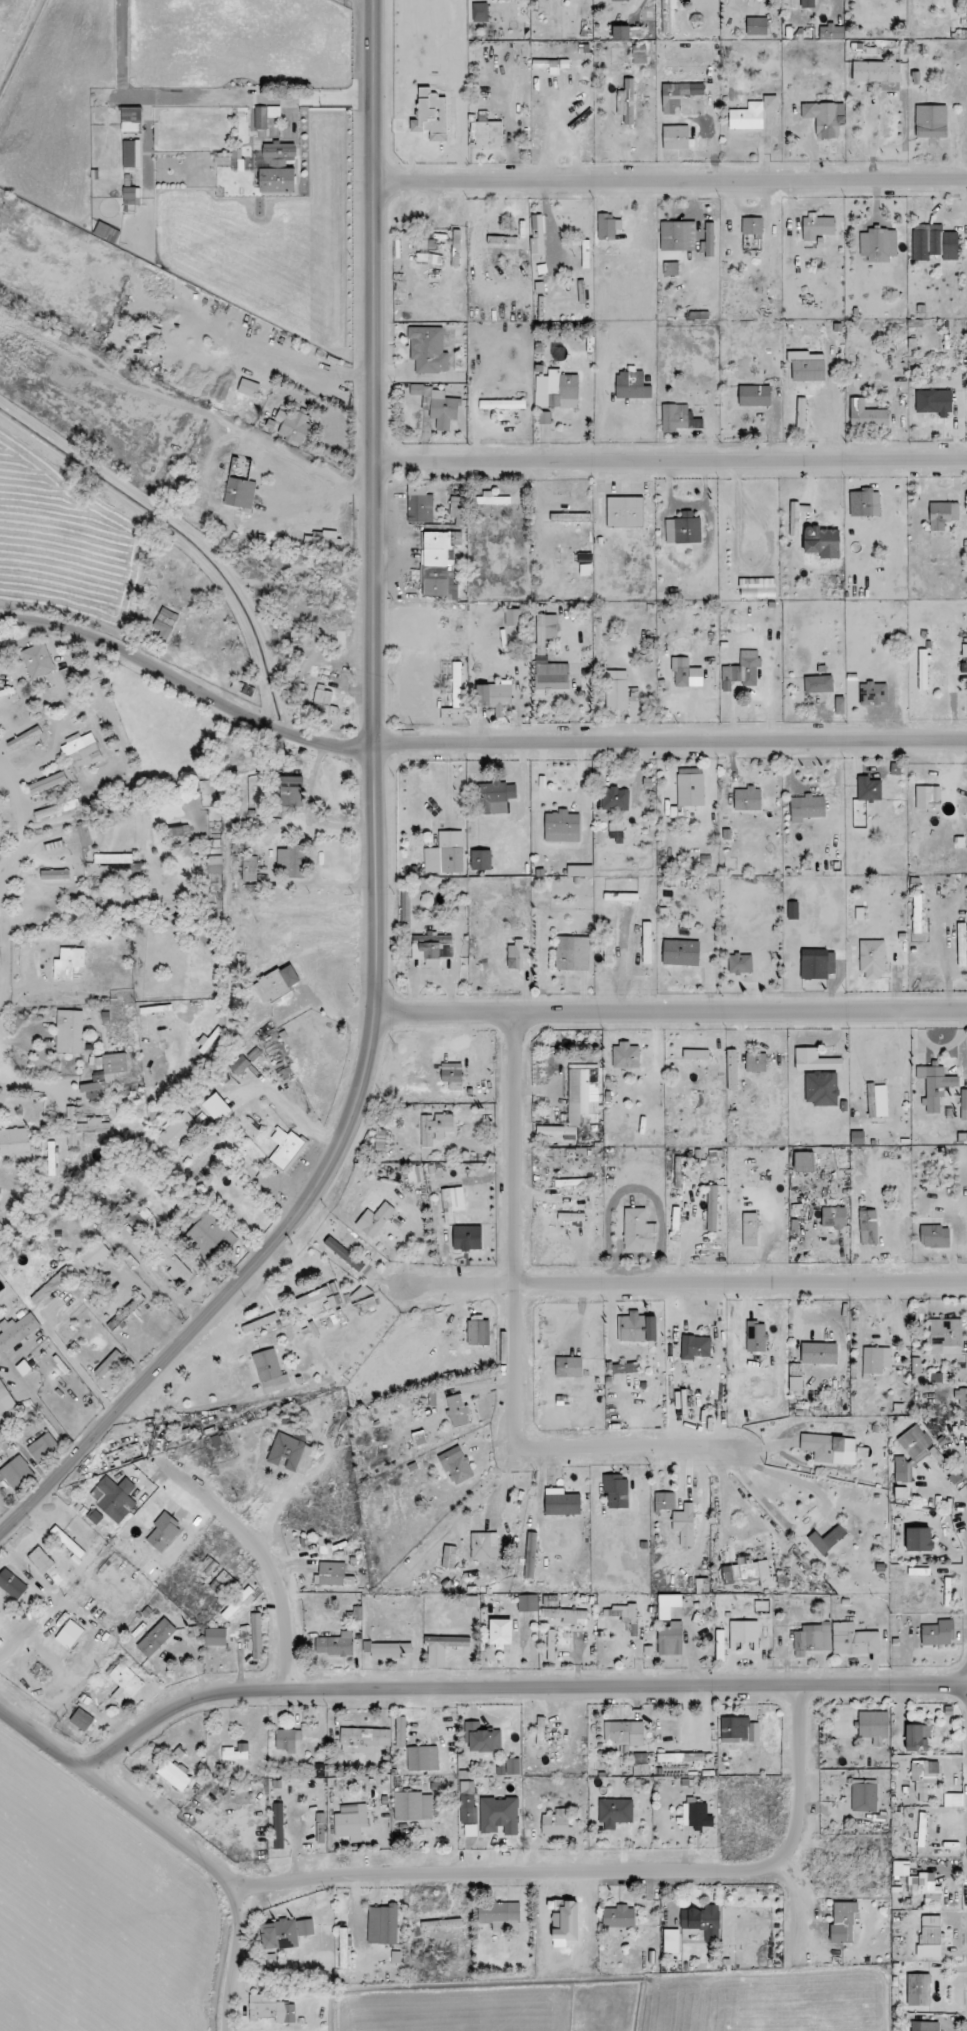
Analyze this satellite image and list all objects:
building: (807, 4)
building: (480, 12)
building: (667, 14)
building: (756, 26)
building: (831, 32)
building: (621, 33)
building: (639, 55)
building: (552, 65)
building: (878, 73)
building: (678, 95)
building: (626, 101)
building: (752, 114)
building: (431, 115)
building: (265, 116)
building: (826, 118)
building: (131, 119)
building: (931, 121)
road: (871, 133)
building: (489, 134)
building: (675, 137)
building: (279, 152)
building: (131, 154)
building: (277, 180)
road: (666, 181)
building: (131, 196)
building: (607, 226)
building: (752, 226)
building: (817, 227)
building: (107, 233)
building: (537, 234)
building: (677, 236)
building: (709, 239)
building: (933, 242)
building: (878, 245)
building: (671, 269)
building: (428, 350)
building: (807, 366)
building: (632, 385)
building: (249, 388)
building: (556, 390)
building: (754, 396)
building: (934, 402)
building: (502, 404)
building: (438, 406)
building: (801, 414)
building: (867, 416)
building: (678, 418)
building: (294, 426)
road: (667, 461)
building: (240, 493)
building: (492, 500)
building: (864, 503)
building: (419, 505)
building: (457, 507)
building: (625, 512)
building: (942, 514)
building: (797, 516)
building: (570, 518)
building: (683, 530)
building: (323, 539)
building: (822, 542)
building: (439, 563)
building: (585, 563)
building: (758, 592)
building: (513, 617)
building: (165, 623)
building: (545, 631)
building: (38, 660)
building: (922, 669)
building: (681, 671)
building: (742, 672)
building: (551, 676)
building: (818, 684)
building: (457, 685)
building: (616, 690)
building: (873, 693)
building: (495, 696)
building: (323, 702)
building: (24, 738)
road: (469, 742)
building: (81, 752)
building: (47, 782)
building: (868, 789)
building: (689, 790)
building: (291, 792)
building: (495, 797)
building: (615, 799)
building: (747, 799)
building: (807, 808)
building: (56, 809)
building: (562, 826)
building: (179, 831)
building: (616, 832)
road: (368, 833)
building: (84, 835)
building: (445, 854)
building: (113, 858)
building: (289, 859)
building: (481, 860)
building: (215, 864)
building: (249, 868)
building: (580, 871)
building: (55, 875)
building: (455, 889)
building: (621, 897)
building: (427, 900)
building: (405, 902)
building: (792, 910)
building: (916, 919)
building: (647, 943)
building: (962, 945)
building: (608, 946)
building: (432, 947)
building: (572, 953)
building: (681, 953)
building: (516, 955)
building: (872, 959)
building: (68, 963)
building: (740, 964)
building: (817, 964)
building: (277, 983)
road: (667, 1012)
building: (69, 1031)
building: (208, 1040)
building: (254, 1054)
building: (696, 1054)
building: (626, 1056)
building: (814, 1060)
building: (755, 1062)
building: (239, 1065)
building: (732, 1069)
building: (451, 1072)
building: (97, 1085)
building: (935, 1086)
building: (821, 1088)
building: (877, 1100)
building: (964, 1105)
building: (84, 1128)
building: (436, 1128)
building: (178, 1131)
building: (857, 1138)
building: (15, 1143)
building: (286, 1149)
building: (577, 1153)
building: (804, 1162)
building: (415, 1174)
building: (572, 1182)
building: (161, 1188)
building: (452, 1203)
building: (712, 1208)
building: (571, 1217)
building: (834, 1217)
building: (375, 1219)
building: (142, 1223)
building: (868, 1227)
building: (749, 1229)
building: (639, 1231)
building: (210, 1234)
building: (934, 1236)
building: (467, 1237)
building: (94, 1254)
building: (344, 1254)
road: (514, 1258)
building: (172, 1260)
road: (684, 1281)
building: (51, 1286)
building: (362, 1291)
building: (311, 1297)
building: (334, 1301)
building: (365, 1304)
building: (126, 1312)
building: (637, 1327)
building: (17, 1331)
building: (478, 1331)
building: (945, 1332)
building: (756, 1336)
building: (695, 1347)
building: (819, 1353)
building: (875, 1360)
building: (109, 1364)
building: (916, 1365)
building: (569, 1367)
building: (625, 1368)
building: (270, 1372)
building: (795, 1377)
building: (939, 1378)
building: (3, 1392)
road: (40, 1400)
building: (458, 1411)
building: (420, 1438)
building: (218, 1440)
building: (914, 1441)
building: (43, 1447)
road: (626, 1447)
building: (829, 1448)
building: (293, 1454)
building: (941, 1460)
building: (456, 1465)
building: (16, 1473)
building: (954, 1477)
building: (903, 1478)
building: (616, 1491)
building: (114, 1498)
building: (664, 1501)
building: (561, 1502)
road: (811, 1516)
building: (684, 1524)
building: (164, 1532)
building: (828, 1539)
building: (918, 1539)
building: (67, 1541)
building: (484, 1546)
building: (530, 1555)
road: (262, 1556)
building: (449, 1557)
building: (41, 1560)
building: (207, 1565)
building: (748, 1571)
building: (332, 1573)
building: (12, 1584)
building: (223, 1584)
building: (702, 1585)
building: (551, 1601)
building: (240, 1602)
building: (528, 1603)
building: (356, 1613)
building: (625, 1613)
building: (567, 1615)
building: (501, 1633)
building: (743, 1633)
building: (938, 1633)
building: (69, 1634)
building: (156, 1637)
building: (215, 1637)
building: (256, 1637)
building: (670, 1639)
building: (812, 1639)
building: (853, 1639)
building: (1, 1641)
building: (335, 1644)
building: (551, 1645)
building: (443, 1648)
building: (390, 1650)
building: (124, 1683)
road: (515, 1687)
building: (81, 1720)
building: (873, 1726)
building: (739, 1730)
building: (400, 1732)
building: (624, 1732)
building: (540, 1733)
building: (917, 1737)
building: (482, 1738)
building: (364, 1739)
building: (288, 1740)
building: (236, 1752)
building: (680, 1757)
building: (422, 1758)
building: (640, 1764)
building: (510, 1767)
road: (800, 1769)
building: (320, 1770)
building: (175, 1774)
building: (924, 1778)
building: (864, 1795)
building: (953, 1800)
building: (468, 1802)
building: (413, 1806)
building: (615, 1812)
building: (696, 1814)
building: (499, 1815)
building: (351, 1821)
building: (557, 1823)
building: (278, 1825)
building: (922, 1830)
road: (176, 1841)
road: (511, 1872)
building: (924, 1887)
building: (498, 1912)
building: (619, 1916)
building: (703, 1921)
building: (843, 1921)
building: (383, 1924)
building: (441, 1924)
building: (305, 1927)
building: (279, 1935)
building: (931, 1936)
building: (671, 1941)
building: (343, 1948)
building: (919, 1990)
building: (271, 2009)
building: (929, 2026)

